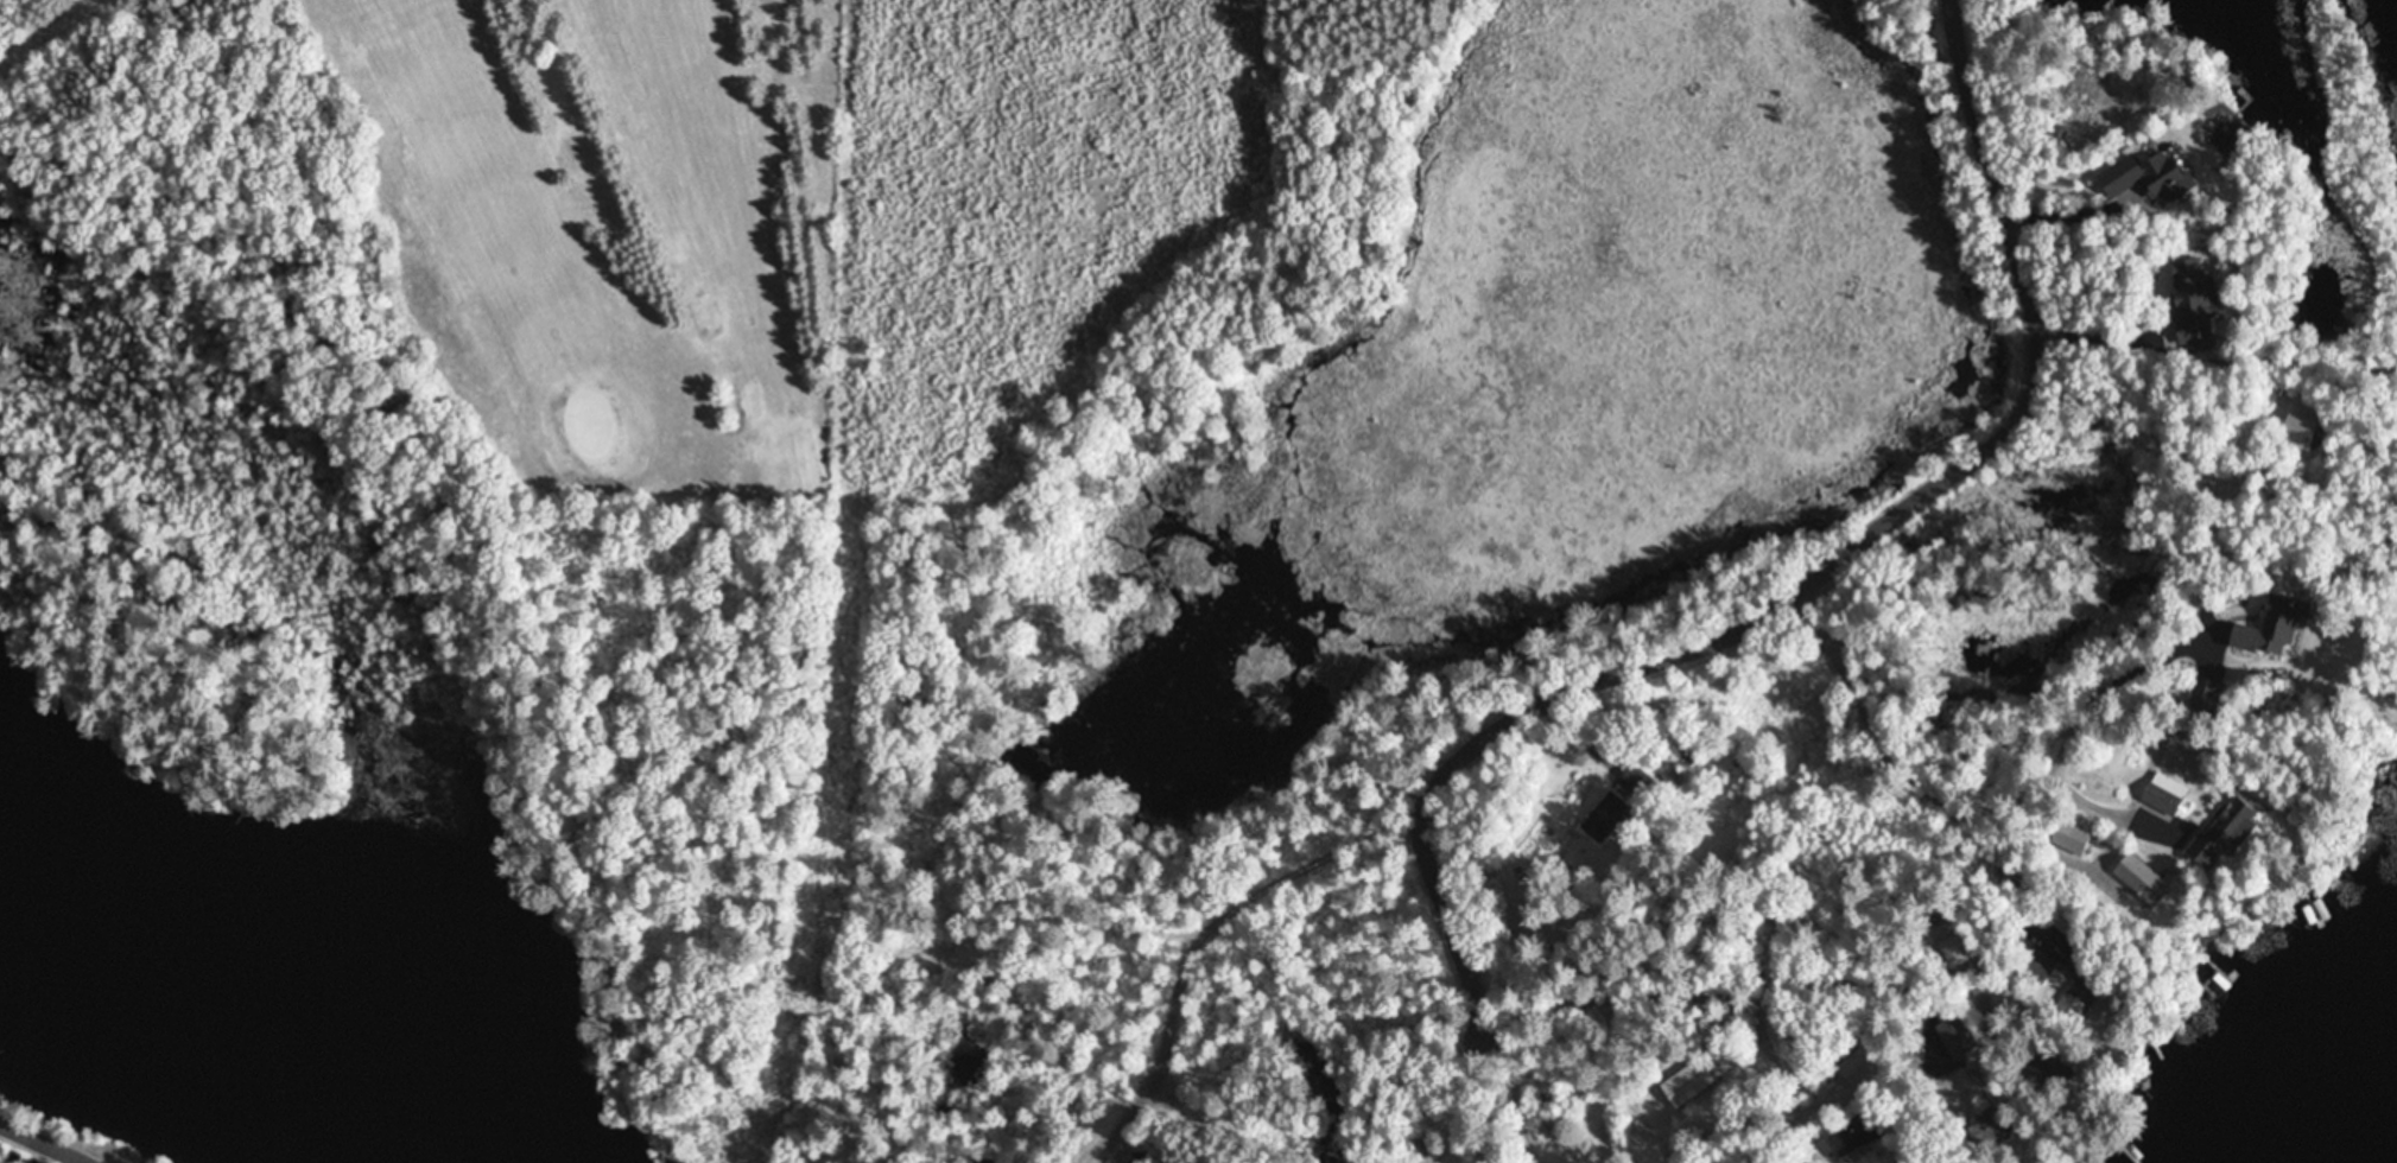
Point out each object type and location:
building: (2149, 177)
park: (572, 229)
building: (2193, 306)
building: (2301, 431)
building: (2272, 628)
building: (2205, 694)
road: (1496, 720)
building: (1691, 756)
road: (1890, 764)
building: (2163, 793)
building: (1604, 816)
building: (2221, 835)
building: (2139, 878)
building: (2035, 965)
building: (2078, 984)
building: (2217, 986)
river: (251, 1000)
building: (1860, 1073)
building: (1686, 1083)
road: (1464, 1092)
building: (1987, 1118)
building: (1849, 1138)
road: (42, 1142)

